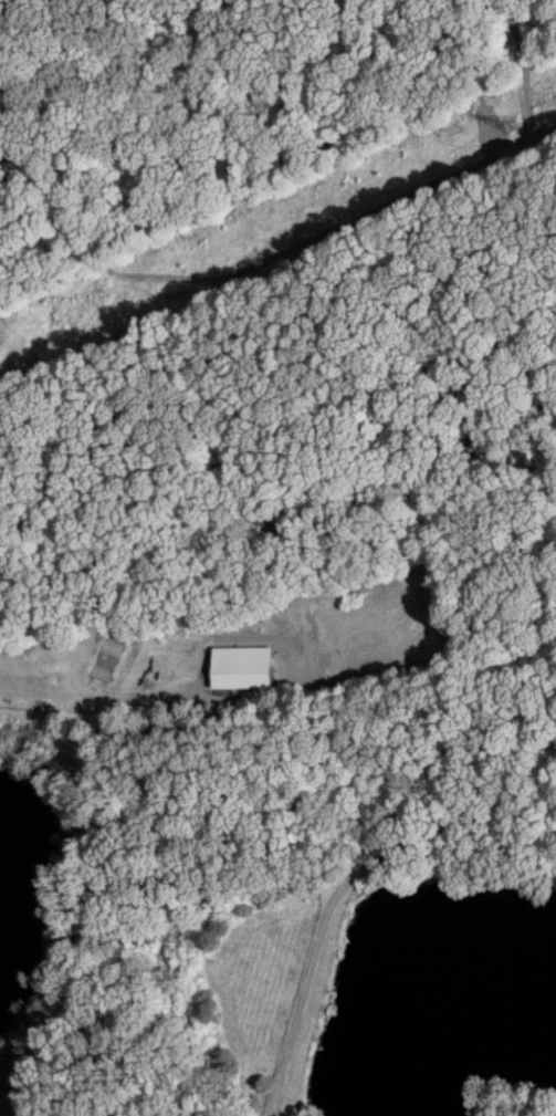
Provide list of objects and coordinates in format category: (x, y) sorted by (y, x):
building: (246, 665)

